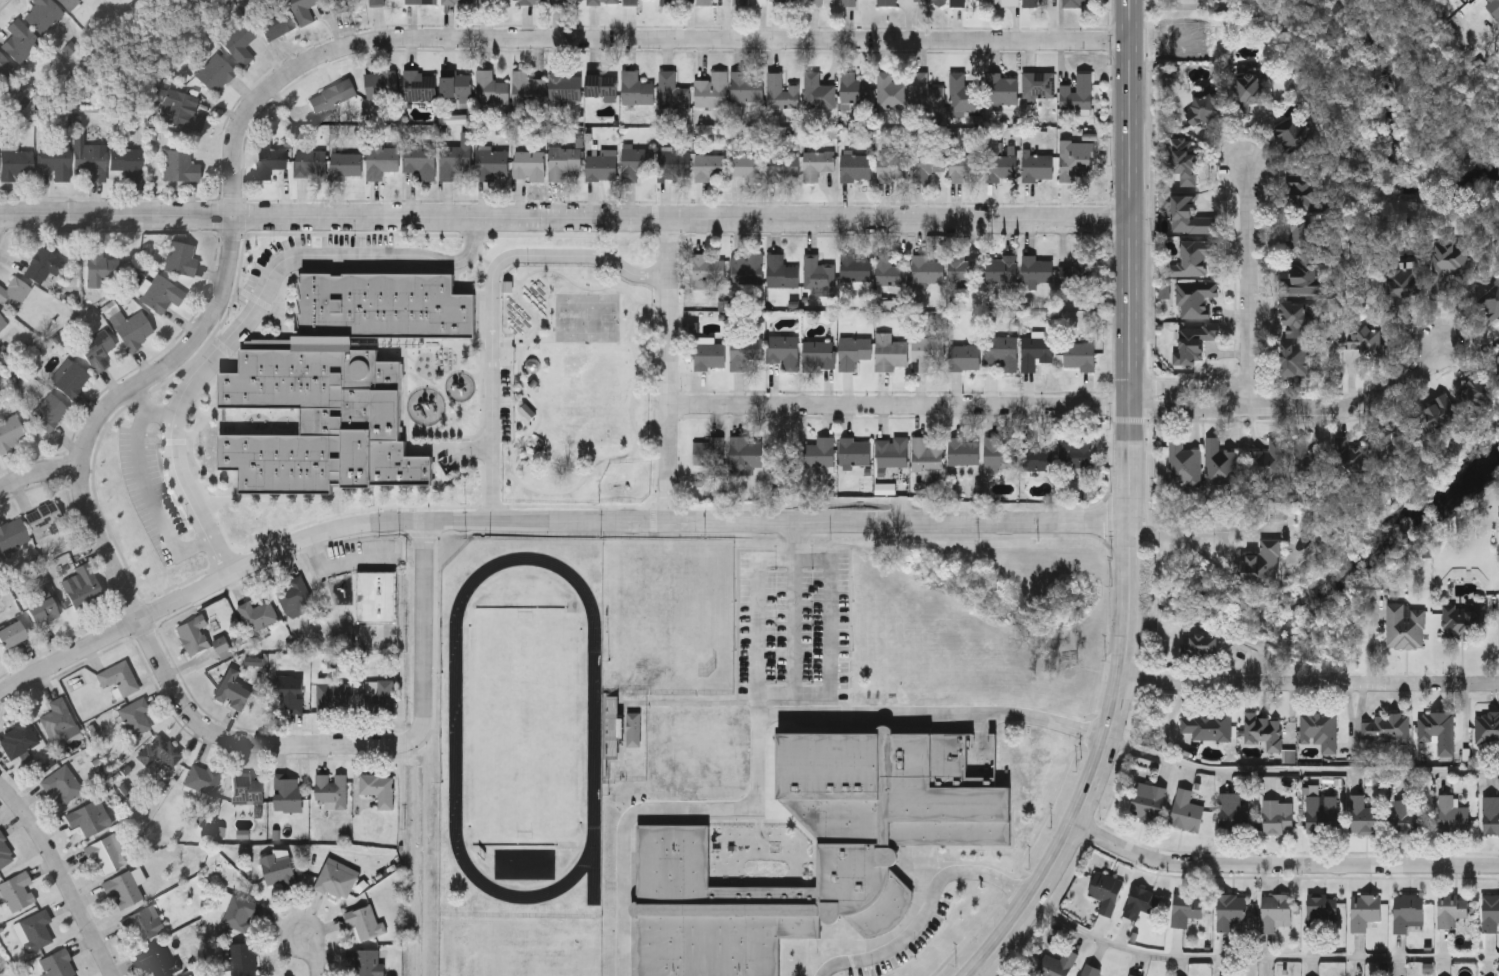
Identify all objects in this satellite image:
building: (420, 0)
building: (457, 0)
building: (489, 0)
building: (532, 0)
building: (788, 0)
building: (1219, 0)
building: (376, 1)
building: (558, 1)
building: (602, 1)
building: (630, 1)
building: (666, 1)
building: (703, 1)
building: (740, 1)
building: (814, 1)
building: (848, 1)
building: (957, 1)
building: (1077, 1)
building: (1497, 1)
building: (885, 2)
building: (936, 2)
building: (1002, 2)
building: (1030, 2)
building: (68, 3)
building: (340, 4)
building: (302, 9)
building: (1493, 9)
building: (41, 13)
building: (1497, 17)
building: (275, 21)
building: (19, 40)
building: (238, 41)
park: (141, 63)
building: (4, 66)
building: (215, 73)
building: (381, 83)
building: (1038, 83)
building: (420, 84)
building: (455, 84)
building: (746, 84)
building: (564, 85)
building: (601, 85)
building: (490, 87)
building: (635, 87)
building: (854, 87)
building: (1002, 87)
building: (1248, 87)
building: (527, 88)
building: (711, 88)
building: (671, 89)
building: (890, 89)
building: (781, 90)
building: (817, 90)
building: (926, 90)
building: (1077, 90)
building: (962, 92)
building: (331, 94)
building: (1200, 106)
building: (182, 111)
road: (239, 119)
building: (1291, 131)
building: (454, 156)
building: (268, 158)
building: (420, 158)
building: (1180, 158)
building: (54, 159)
building: (90, 159)
building: (381, 159)
building: (562, 159)
building: (634, 159)
building: (674, 160)
building: (127, 161)
building: (309, 161)
building: (926, 161)
building: (1073, 161)
building: (345, 162)
building: (490, 162)
building: (528, 162)
building: (601, 162)
building: (817, 162)
building: (15, 163)
building: (983, 163)
building: (178, 165)
building: (710, 165)
building: (745, 165)
building: (782, 165)
building: (855, 165)
building: (1038, 165)
building: (891, 166)
building: (1300, 192)
building: (1186, 213)
road: (564, 217)
building: (1299, 231)
building: (1191, 256)
building: (179, 257)
building: (1447, 261)
building: (42, 264)
building: (707, 265)
building: (854, 266)
building: (1001, 266)
building: (99, 267)
building: (746, 267)
building: (927, 267)
building: (964, 267)
building: (781, 269)
building: (889, 269)
building: (1035, 269)
building: (1077, 269)
building: (818, 273)
building: (1302, 277)
building: (1400, 280)
road: (1249, 285)
building: (1163, 290)
building: (13, 293)
building: (161, 293)
building: (1193, 297)
road: (494, 302)
building: (1490, 302)
park: (587, 315)
road: (243, 318)
building: (1293, 318)
building: (2, 320)
building: (130, 328)
building: (1363, 339)
building: (1191, 341)
building: (783, 347)
building: (1035, 348)
building: (96, 349)
building: (743, 349)
building: (1001, 349)
building: (852, 350)
building: (926, 350)
building: (818, 352)
building: (891, 352)
building: (709, 354)
building: (1080, 354)
building: (964, 355)
building: (1292, 358)
road: (669, 366)
building: (1495, 371)
building: (70, 378)
building: (339, 381)
building: (1498, 383)
road: (1191, 387)
building: (1472, 394)
road: (1357, 405)
road: (900, 406)
road: (1190, 409)
road: (149, 410)
building: (48, 411)
building: (1435, 412)
building: (1392, 431)
building: (10, 432)
building: (855, 448)
building: (708, 449)
building: (891, 449)
building: (963, 449)
building: (819, 450)
building: (1000, 450)
building: (1076, 451)
building: (926, 452)
building: (744, 453)
building: (1036, 454)
building: (1351, 457)
building: (1181, 460)
building: (1266, 461)
building: (1217, 462)
building: (1309, 463)
road: (39, 470)
road: (155, 503)
road: (1130, 508)
building: (44, 519)
road: (543, 519)
building: (12, 532)
road: (796, 554)
road: (1210, 561)
building: (0, 562)
building: (1263, 562)
road: (344, 568)
building: (82, 586)
building: (295, 593)
building: (374, 595)
building: (42, 607)
building: (259, 613)
road: (795, 616)
building: (1462, 621)
building: (1404, 626)
road: (424, 629)
building: (11, 633)
building: (193, 633)
building: (1200, 644)
building: (223, 645)
building: (119, 676)
road: (1311, 683)
building: (234, 688)
building: (290, 689)
building: (380, 694)
building: (333, 695)
building: (135, 715)
building: (59, 718)
park: (524, 722)
building: (1208, 725)
building: (1317, 727)
building: (1384, 727)
building: (1486, 727)
building: (612, 728)
road: (757, 728)
building: (634, 729)
building: (1262, 729)
building: (1436, 729)
building: (18, 738)
building: (160, 750)
road: (1302, 767)
building: (203, 777)
building: (62, 782)
building: (247, 786)
building: (379, 786)
building: (332, 787)
building: (289, 790)
building: (1147, 800)
building: (1185, 810)
building: (1321, 811)
building: (1232, 812)
building: (1451, 814)
building: (1490, 814)
building: (1363, 815)
building: (89, 816)
building: (1277, 816)
building: (1407, 816)
building: (243, 834)
building: (820, 847)
building: (6, 851)
building: (105, 851)
road: (1284, 861)
building: (280, 866)
road: (63, 874)
building: (336, 878)
building: (125, 886)
building: (18, 890)
building: (1105, 890)
building: (1140, 900)
road: (927, 906)
building: (1185, 907)
building: (1451, 908)
building: (1230, 909)
building: (1273, 910)
building: (1363, 910)
building: (241, 911)
building: (1321, 911)
building: (1407, 911)
building: (1490, 911)
building: (366, 920)
building: (143, 924)
building: (34, 929)
road: (1263, 944)
road: (314, 953)
building: (243, 958)
building: (160, 959)
building: (366, 961)
building: (58, 964)
building: (1055, 964)
building: (1088, 969)
road: (981, 974)
building: (1133, 974)
building: (189, 975)

